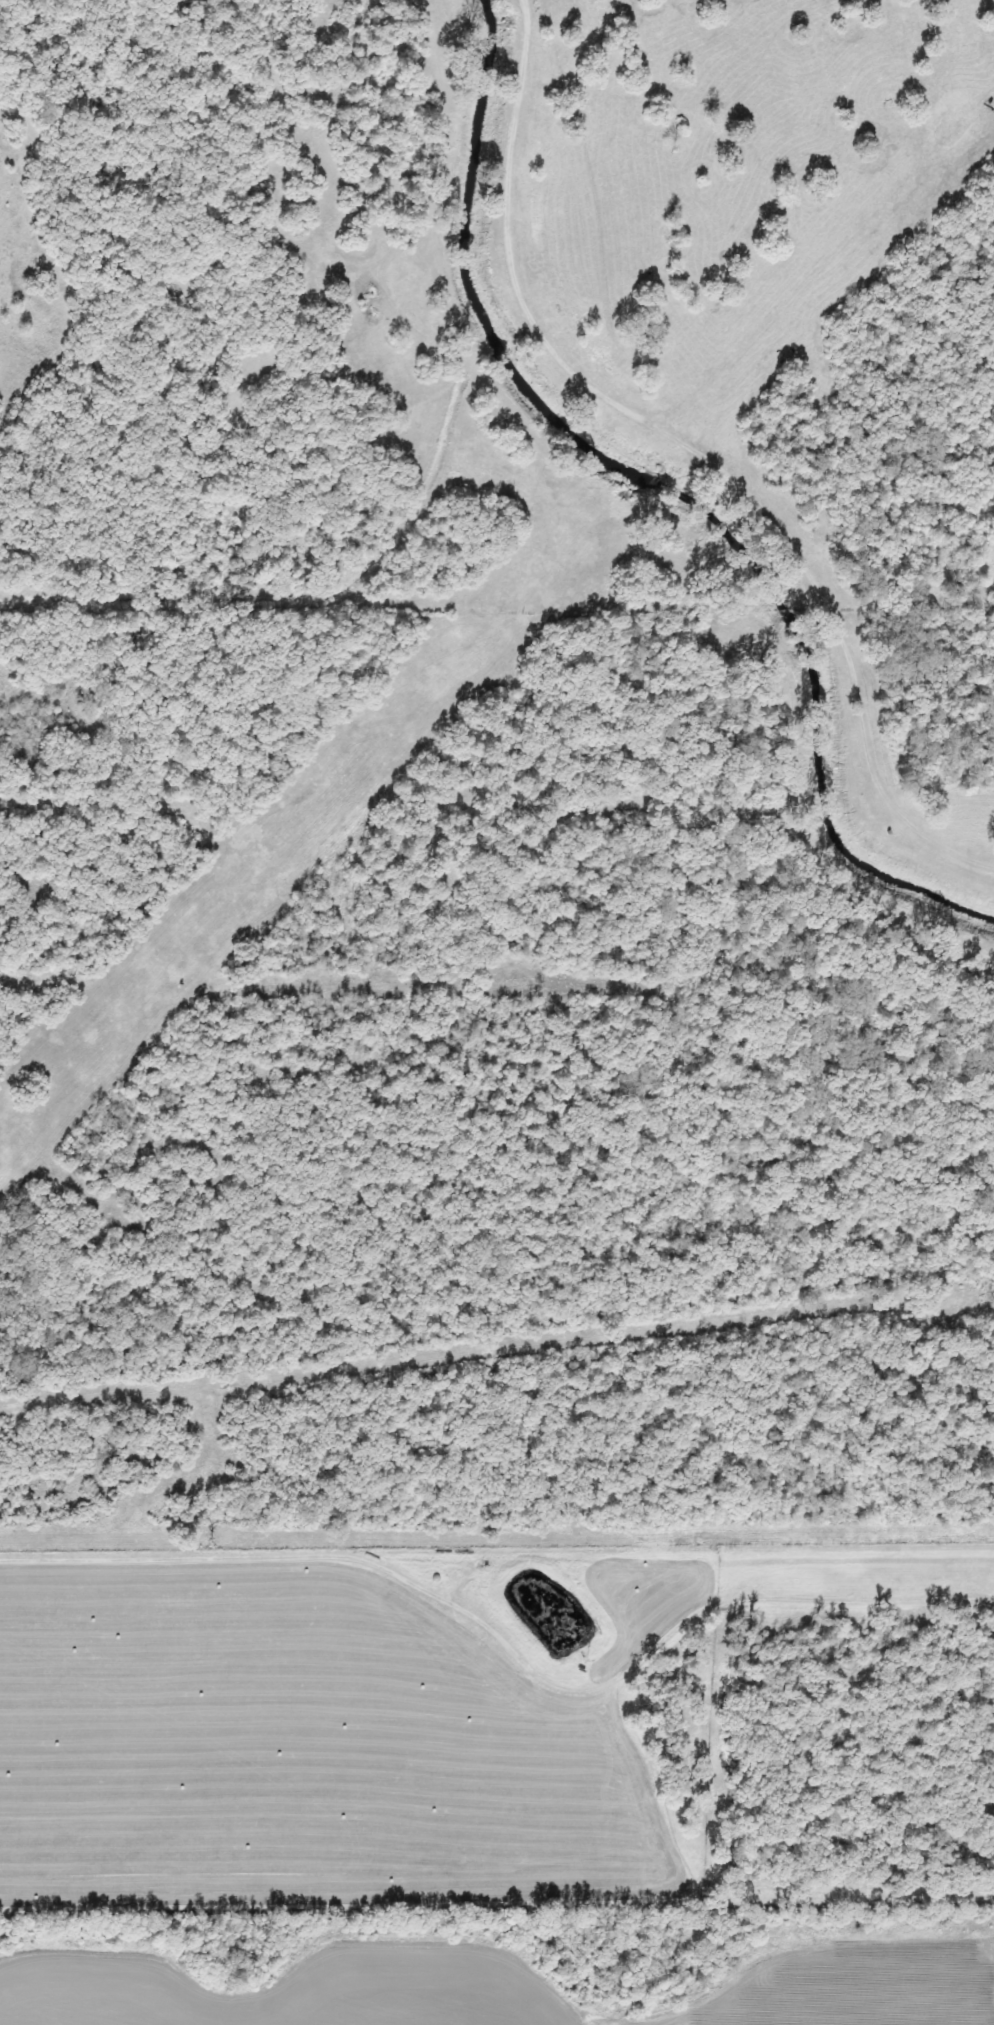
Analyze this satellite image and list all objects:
road: (554, 353)
road: (498, 1650)

